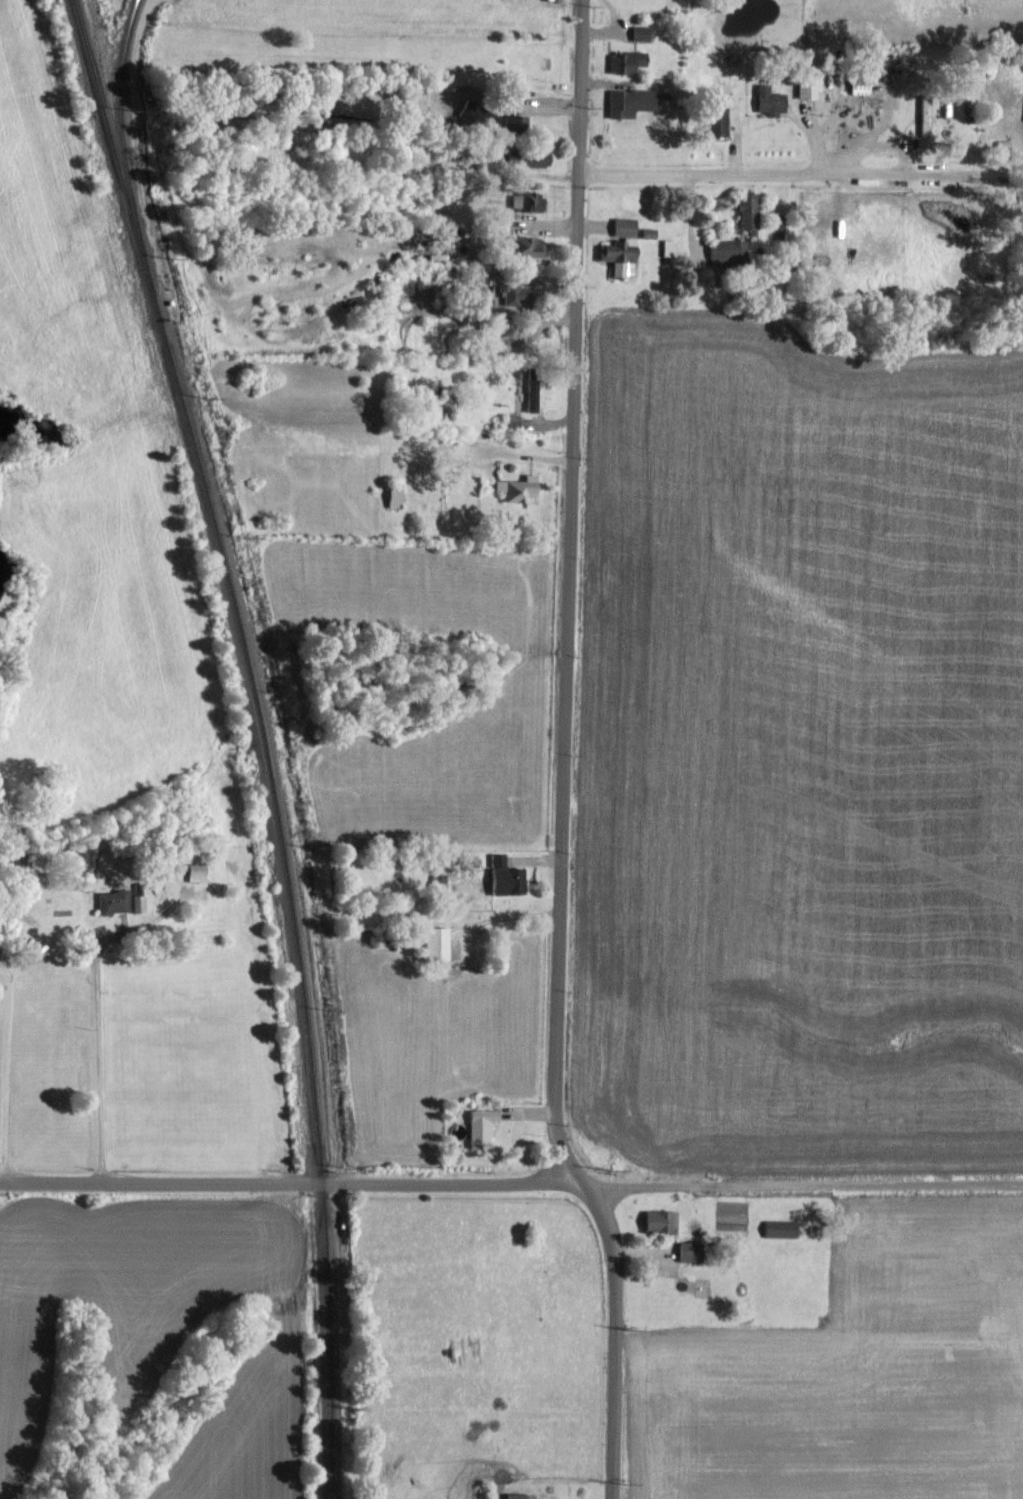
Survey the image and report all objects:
building: (639, 32)
building: (624, 61)
building: (806, 87)
building: (768, 100)
building: (629, 101)
road: (541, 105)
building: (461, 114)
building: (923, 114)
building: (716, 117)
railway: (120, 119)
building: (518, 122)
road: (858, 147)
road: (815, 148)
building: (533, 157)
road: (769, 174)
building: (526, 200)
building: (747, 212)
building: (622, 225)
building: (528, 245)
building: (725, 250)
building: (618, 255)
building: (799, 259)
building: (516, 293)
building: (530, 395)
building: (516, 487)
building: (393, 497)
railway: (266, 739)
road: (564, 756)
building: (496, 859)
building: (199, 871)
building: (496, 876)
building: (517, 880)
building: (111, 901)
building: (137, 903)
building: (433, 943)
road: (97, 1063)
road: (5, 1079)
building: (480, 1124)
road: (805, 1183)
road: (293, 1185)
building: (659, 1221)
building: (778, 1228)
building: (688, 1251)
building: (516, 1496)

